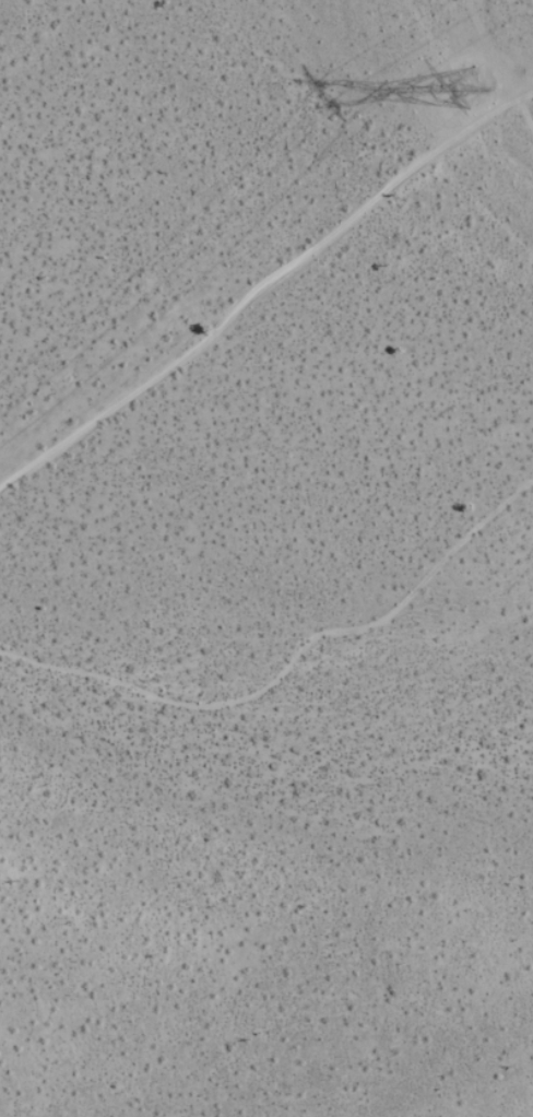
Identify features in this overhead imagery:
power tower: (475, 89)

